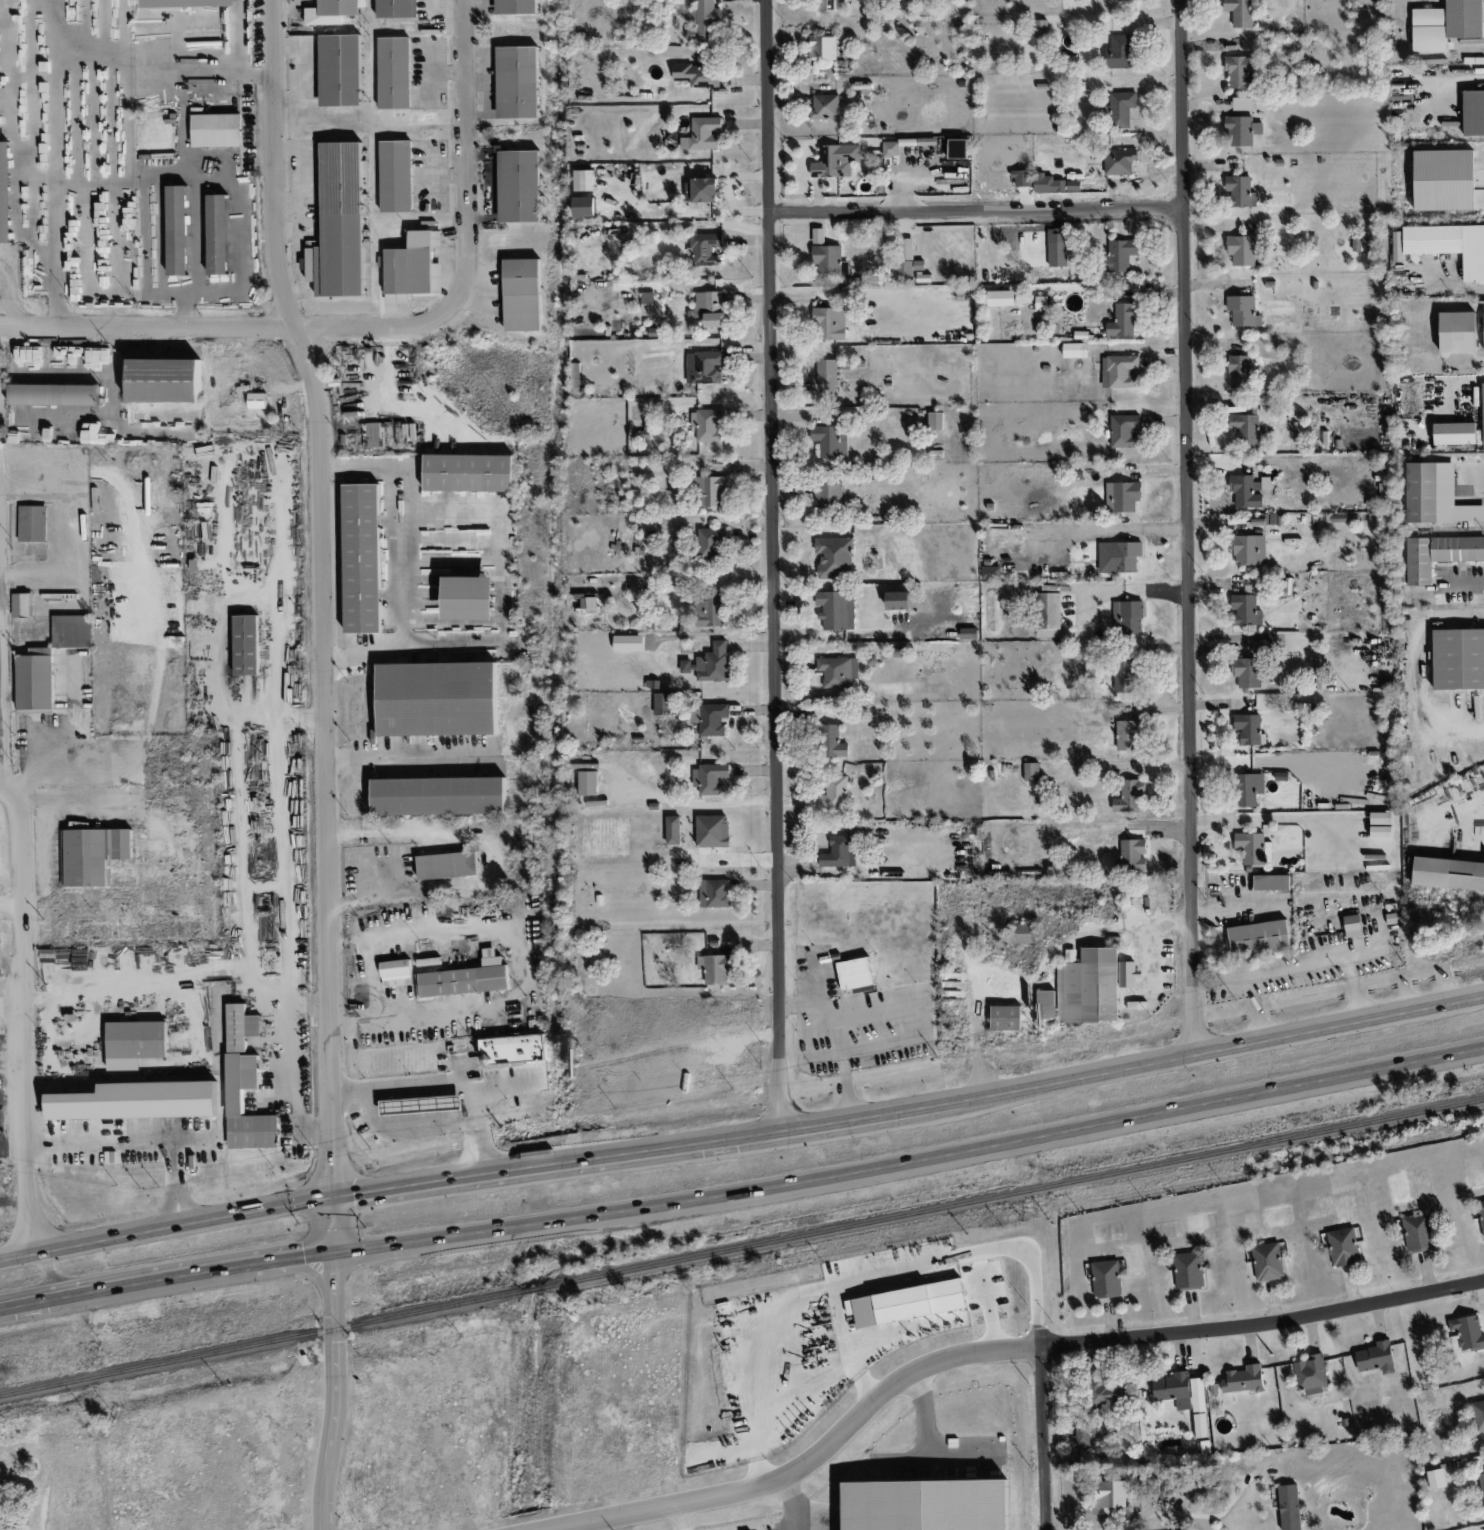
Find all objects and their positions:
building: (1110, 0)
building: (828, 5)
building: (516, 7)
building: (397, 9)
building: (333, 11)
building: (1240, 12)
building: (703, 22)
building: (1446, 24)
building: (1041, 28)
building: (822, 47)
building: (1119, 52)
road: (142, 59)
building: (340, 70)
building: (1241, 71)
building: (394, 73)
building: (698, 75)
road: (1460, 78)
building: (518, 82)
building: (825, 107)
building: (1119, 109)
building: (1473, 113)
building: (217, 130)
building: (703, 134)
building: (890, 148)
building: (958, 148)
building: (836, 160)
building: (1119, 161)
road: (51, 172)
building: (396, 176)
building: (584, 180)
building: (1048, 183)
building: (1073, 185)
building: (519, 186)
building: (702, 190)
building: (1239, 190)
building: (6, 194)
road: (233, 206)
road: (976, 211)
building: (342, 221)
road: (139, 230)
building: (177, 230)
building: (218, 234)
building: (818, 235)
building: (1396, 239)
building: (1359, 242)
building: (1450, 245)
building: (1055, 247)
building: (705, 248)
building: (906, 249)
building: (1243, 249)
building: (1119, 255)
building: (828, 259)
building: (918, 265)
building: (413, 267)
building: (905, 268)
building: (522, 294)
building: (1000, 298)
road: (8, 302)
building: (1042, 302)
building: (711, 308)
building: (1243, 311)
building: (1123, 320)
building: (830, 323)
road: (383, 328)
building: (1457, 332)
building: (1076, 350)
building: (705, 366)
building: (1120, 371)
building: (1240, 371)
building: (826, 377)
building: (165, 380)
building: (54, 394)
building: (257, 400)
building: (1483, 402)
building: (935, 421)
building: (708, 424)
building: (1245, 428)
building: (1124, 430)
building: (1455, 433)
building: (831, 441)
building: (469, 472)
road: (1461, 486)
building: (710, 491)
building: (1246, 491)
building: (1422, 492)
building: (828, 494)
building: (1122, 496)
building: (1467, 513)
building: (32, 523)
road: (1186, 526)
building: (711, 543)
building: (1249, 549)
building: (1439, 554)
building: (1119, 556)
building: (835, 557)
building: (362, 558)
road: (403, 561)
road: (773, 568)
building: (991, 572)
road: (1447, 588)
building: (469, 598)
building: (898, 600)
building: (21, 605)
building: (836, 609)
building: (709, 610)
building: (1245, 610)
building: (1048, 615)
building: (1127, 617)
building: (73, 631)
building: (969, 633)
road: (1231, 637)
building: (628, 643)
building: (246, 645)
building: (1260, 646)
building: (1458, 659)
building: (711, 663)
road: (1414, 666)
building: (838, 671)
building: (1247, 671)
building: (1124, 676)
building: (35, 682)
building: (437, 698)
building: (663, 703)
building: (709, 718)
building: (1248, 728)
building: (1129, 735)
building: (831, 742)
road: (409, 757)
road: (326, 762)
building: (1032, 771)
building: (709, 777)
building: (588, 783)
building: (1248, 788)
building: (834, 793)
building: (1130, 795)
building: (439, 796)
road: (6, 797)
road: (1289, 816)
building: (1381, 818)
road: (1099, 827)
building: (673, 830)
building: (712, 831)
road: (284, 837)
building: (1254, 848)
building: (837, 852)
building: (92, 854)
building: (1132, 855)
road: (493, 857)
building: (447, 865)
building: (1448, 873)
building: (1271, 882)
building: (715, 893)
road: (9, 906)
road: (1171, 923)
building: (1353, 925)
building: (1024, 933)
building: (1259, 938)
road: (1153, 954)
road: (518, 965)
building: (715, 968)
road: (1297, 970)
building: (396, 972)
building: (855, 973)
building: (1128, 974)
road: (159, 975)
road: (374, 978)
building: (465, 979)
road: (1015, 981)
building: (1084, 989)
building: (1137, 1005)
building: (1006, 1017)
building: (241, 1027)
road: (20, 1028)
building: (137, 1039)
road: (840, 1040)
building: (513, 1048)
road: (294, 1063)
road: (445, 1081)
road: (501, 1087)
building: (138, 1101)
building: (235, 1102)
road: (135, 1140)
road: (744, 1141)
road: (12, 1149)
road: (744, 1190)
traffic signals: (333, 1200)
building: (1481, 1213)
building: (1417, 1233)
building: (1343, 1246)
railway: (742, 1247)
building: (974, 1252)
traffic signals: (334, 1253)
building: (1267, 1261)
building: (1188, 1270)
building: (1106, 1279)
road: (848, 1282)
building: (907, 1303)
road: (986, 1308)
building: (952, 1319)
road: (1263, 1323)
road: (836, 1324)
building: (1466, 1333)
road: (892, 1336)
building: (1376, 1357)
road: (830, 1374)
building: (1311, 1374)
building: (1244, 1379)
building: (1106, 1394)
building: (1185, 1397)
building: (1478, 1415)
building: (1083, 1435)
road: (1042, 1437)
road: (798, 1460)
building: (1437, 1478)
building: (1481, 1483)
building: (1195, 1491)
building: (1109, 1496)
road: (794, 1499)
park: (16, 1500)
building: (1289, 1507)
road: (1152, 1513)
road: (678, 1515)

